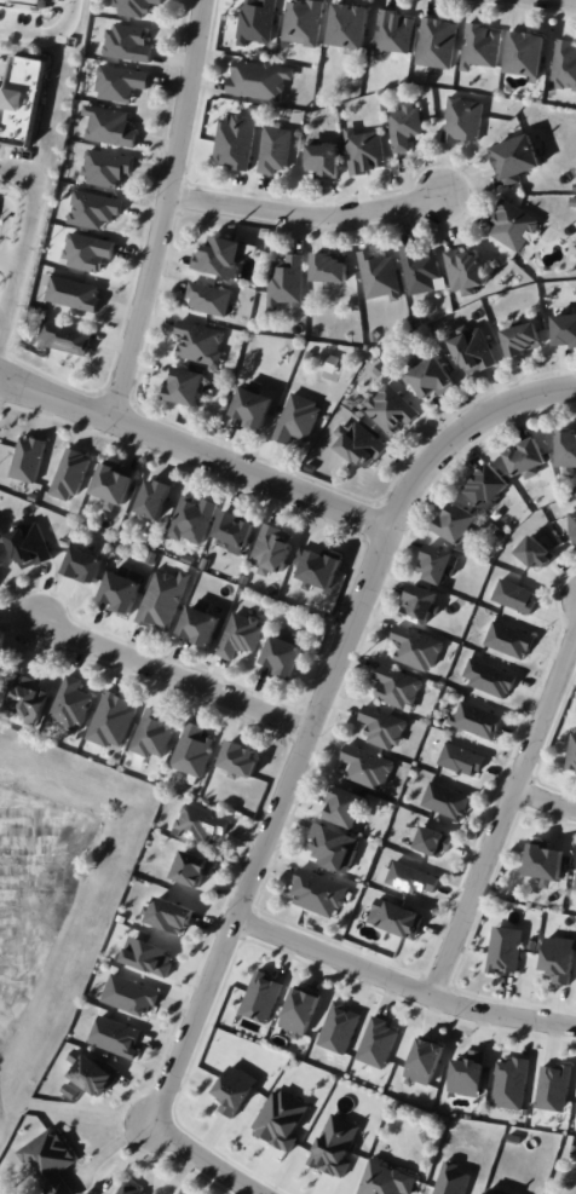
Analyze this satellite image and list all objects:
building: (25, 1)
road: (561, 1)
building: (138, 7)
building: (258, 21)
building: (304, 21)
building: (351, 24)
building: (394, 30)
road: (48, 38)
building: (437, 42)
building: (129, 45)
building: (483, 46)
building: (528, 53)
building: (565, 64)
building: (260, 80)
building: (122, 86)
building: (28, 99)
building: (463, 119)
building: (405, 125)
building: (117, 127)
building: (236, 139)
building: (276, 150)
building: (365, 150)
building: (326, 158)
building: (519, 158)
building: (106, 167)
building: (96, 210)
road: (167, 210)
road: (306, 220)
road: (6, 224)
building: (513, 225)
road: (23, 246)
building: (86, 255)
building: (223, 256)
road: (10, 263)
building: (333, 267)
building: (466, 267)
building: (421, 270)
building: (379, 275)
building: (287, 281)
building: (79, 298)
building: (209, 298)
road: (5, 307)
building: (566, 330)
building: (67, 336)
building: (524, 339)
building: (201, 342)
building: (476, 351)
building: (433, 377)
building: (189, 386)
building: (254, 408)
building: (392, 409)
building: (299, 421)
building: (364, 445)
building: (569, 448)
road: (195, 451)
building: (529, 456)
building: (29, 462)
building: (71, 479)
building: (490, 485)
building: (116, 489)
building: (155, 501)
building: (192, 520)
building: (459, 521)
building: (575, 526)
building: (237, 535)
building: (33, 549)
building: (536, 550)
building: (276, 552)
building: (1, 563)
building: (439, 564)
building: (317, 569)
building: (88, 570)
building: (4, 573)
building: (123, 595)
building: (517, 595)
building: (161, 601)
building: (422, 604)
building: (203, 627)
building: (246, 638)
building: (511, 640)
building: (417, 647)
building: (287, 659)
road: (174, 676)
building: (491, 676)
building: (397, 686)
building: (35, 708)
building: (75, 709)
road: (317, 713)
building: (479, 720)
building: (120, 722)
building: (384, 727)
building: (161, 737)
building: (198, 749)
building: (463, 760)
building: (244, 761)
building: (575, 761)
building: (368, 767)
building: (447, 800)
road: (546, 800)
building: (349, 807)
road: (505, 818)
building: (203, 824)
building: (436, 841)
building: (334, 847)
building: (547, 861)
building: (196, 869)
building: (414, 878)
building: (319, 892)
building: (175, 915)
building: (396, 917)
building: (503, 948)
building: (150, 956)
building: (558, 958)
road: (402, 985)
building: (132, 994)
building: (260, 997)
building: (299, 1010)
building: (338, 1027)
building: (117, 1036)
building: (376, 1042)
building: (424, 1061)
building: (96, 1072)
building: (467, 1073)
building: (509, 1083)
building: (552, 1086)
building: (234, 1089)
road: (65, 1108)
building: (280, 1118)
building: (334, 1146)
road: (205, 1159)
building: (52, 1160)
building: (387, 1178)
building: (450, 1179)
building: (129, 1188)
building: (494, 1192)

